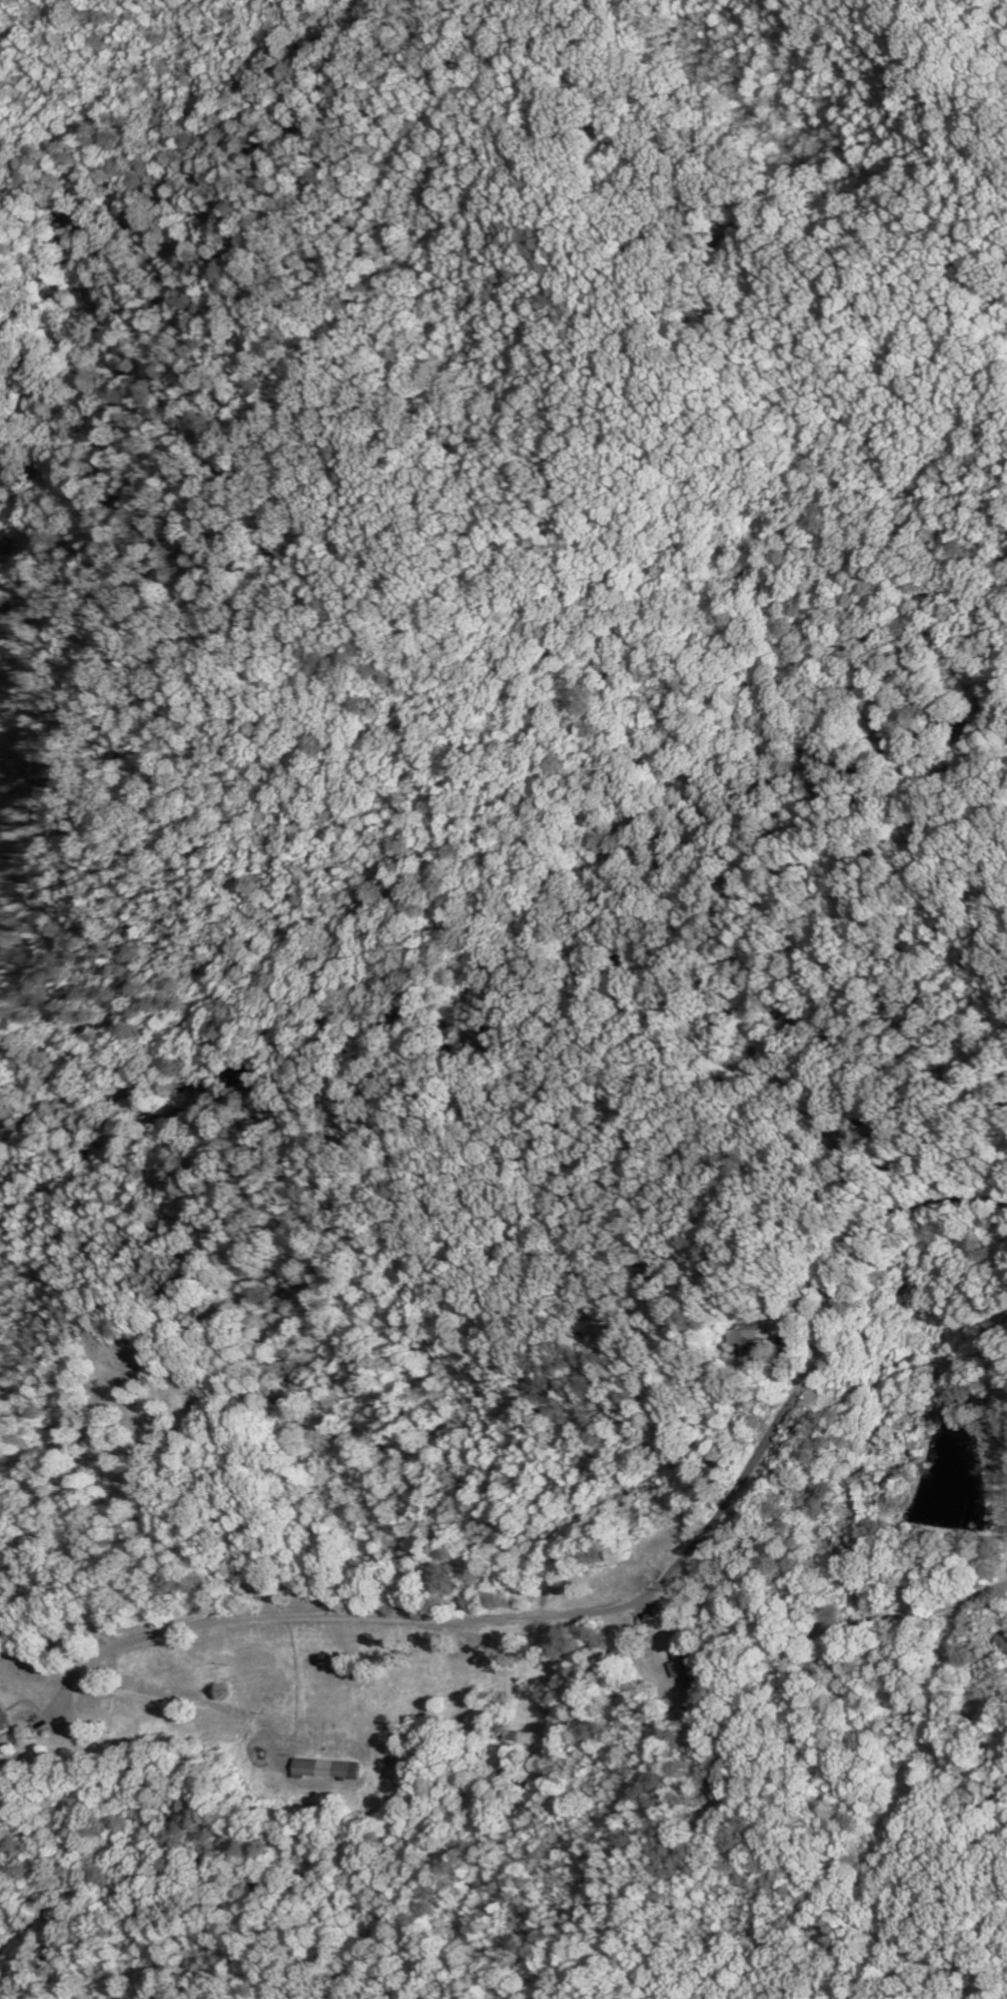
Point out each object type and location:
road: (535, 936)
road: (881, 1223)
road: (493, 1616)
building: (332, 1770)

